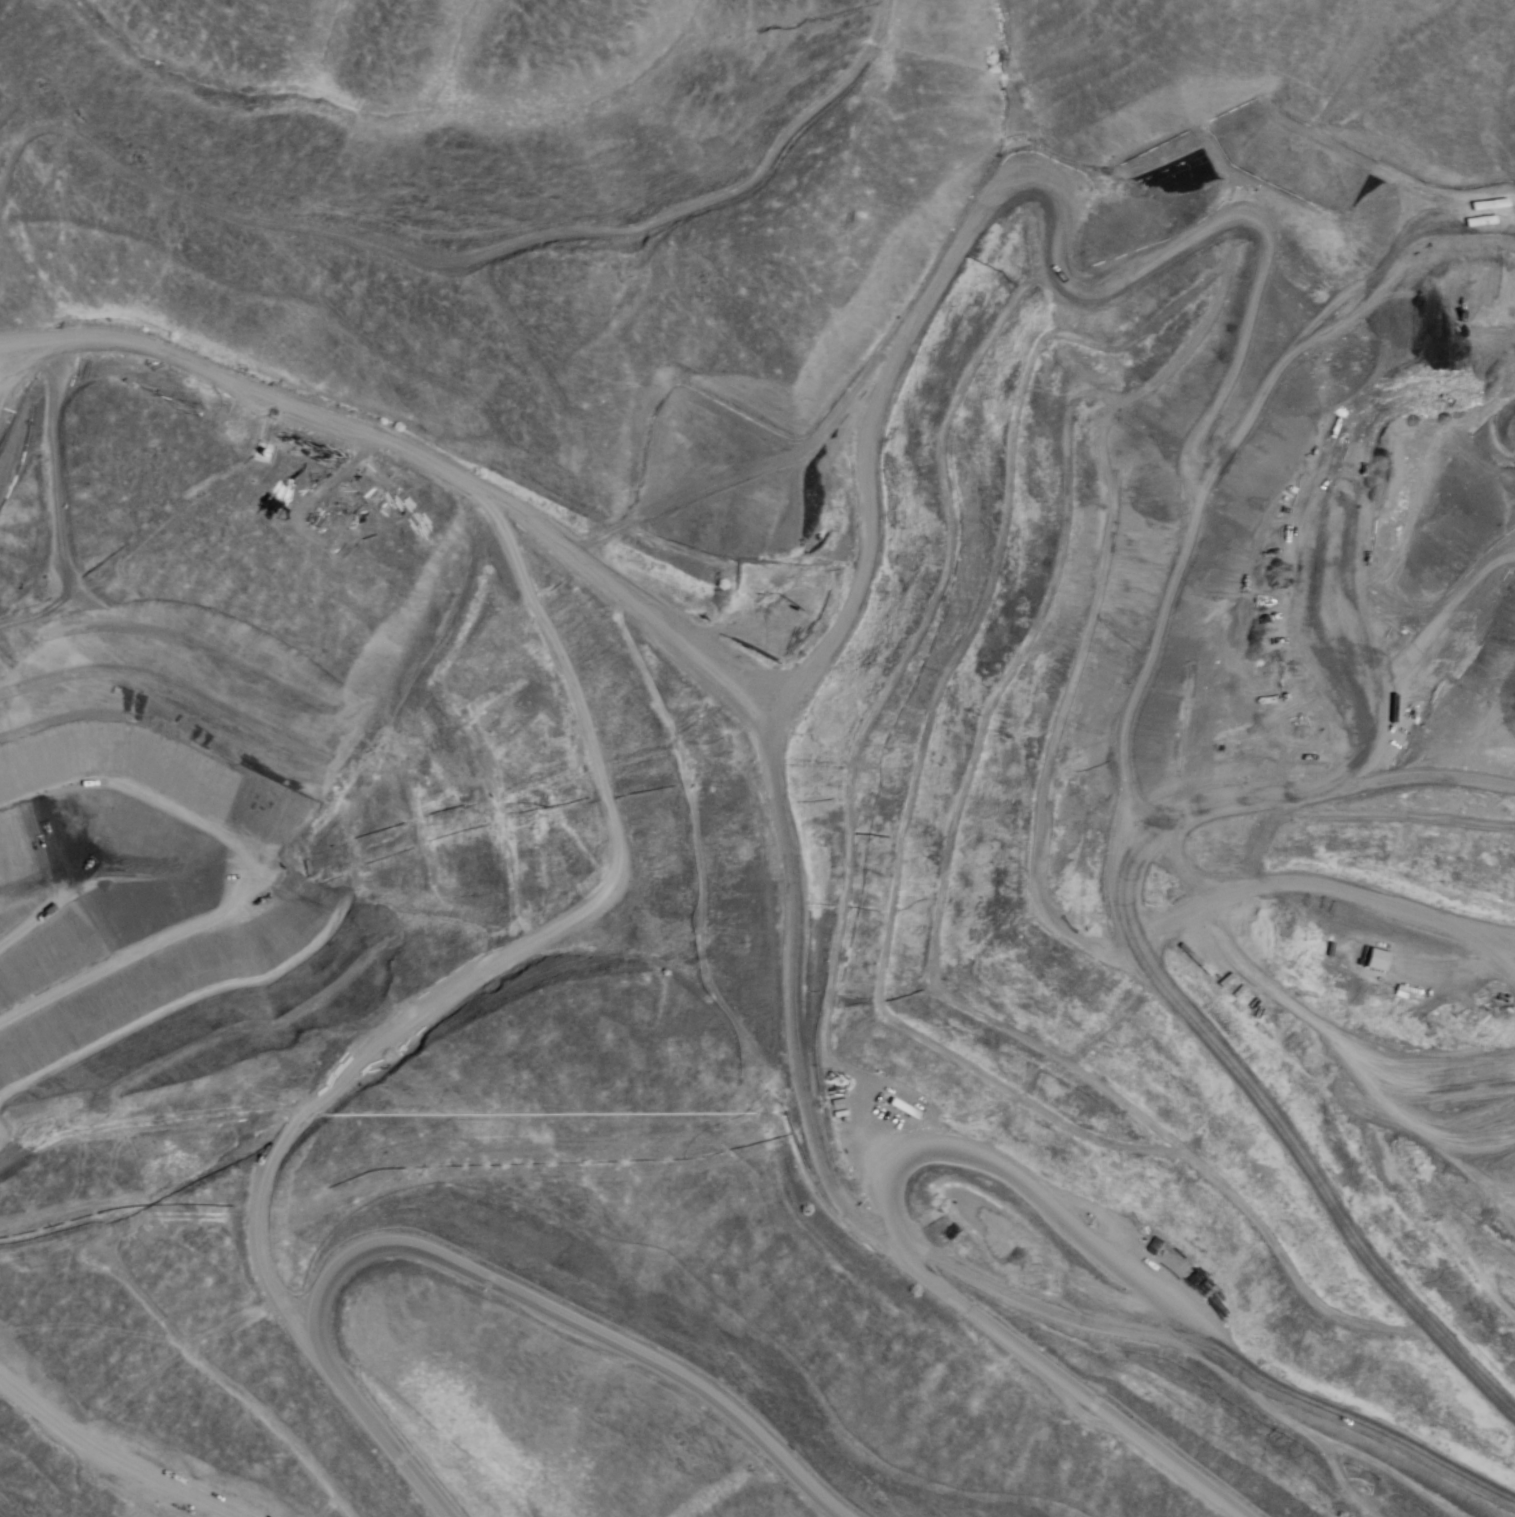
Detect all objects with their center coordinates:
road: (19, 348)
road: (20, 368)
road: (1144, 486)
road: (671, 638)
landfill: (957, 777)
road: (154, 880)
building: (1374, 958)
road: (1179, 1020)
road: (995, 1158)
road: (473, 1278)

